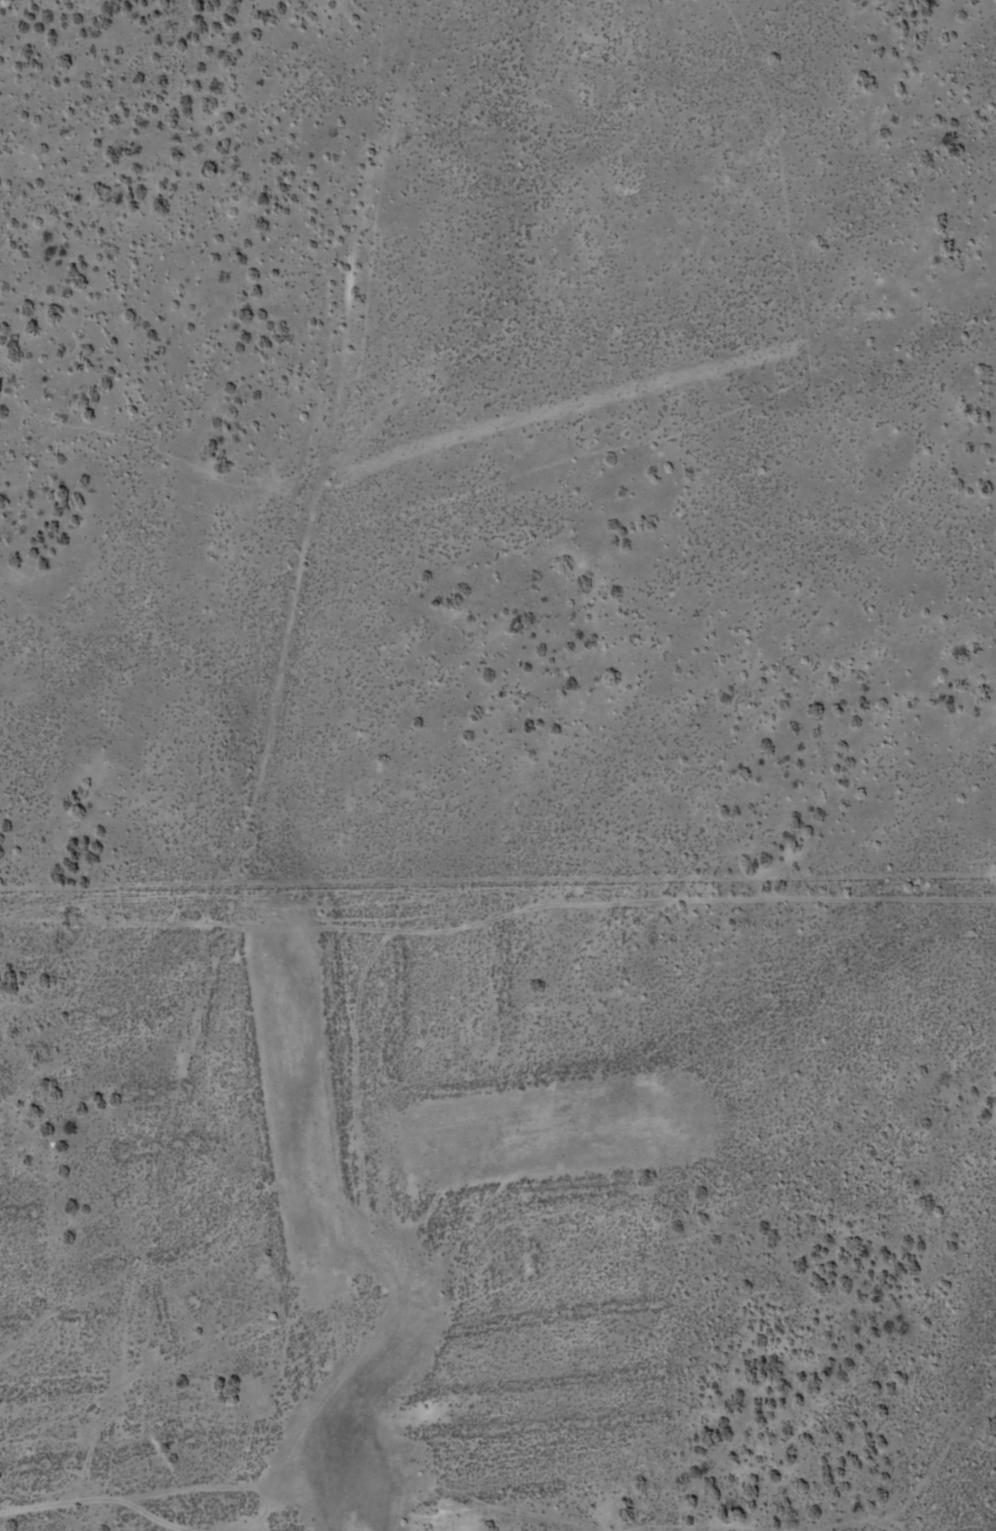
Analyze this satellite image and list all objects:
road: (256, 772)
road: (495, 917)

